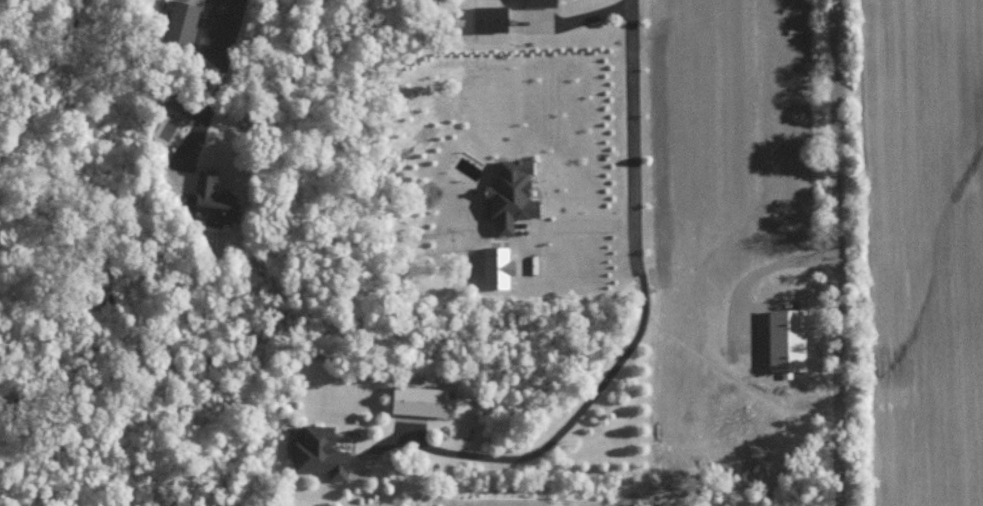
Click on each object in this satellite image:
building: (540, 2)
building: (491, 17)
road: (575, 18)
building: (182, 22)
road: (228, 52)
building: (184, 103)
building: (511, 194)
building: (213, 199)
road: (580, 225)
road: (833, 253)
building: (498, 266)
road: (646, 303)
building: (421, 399)
building: (321, 452)

